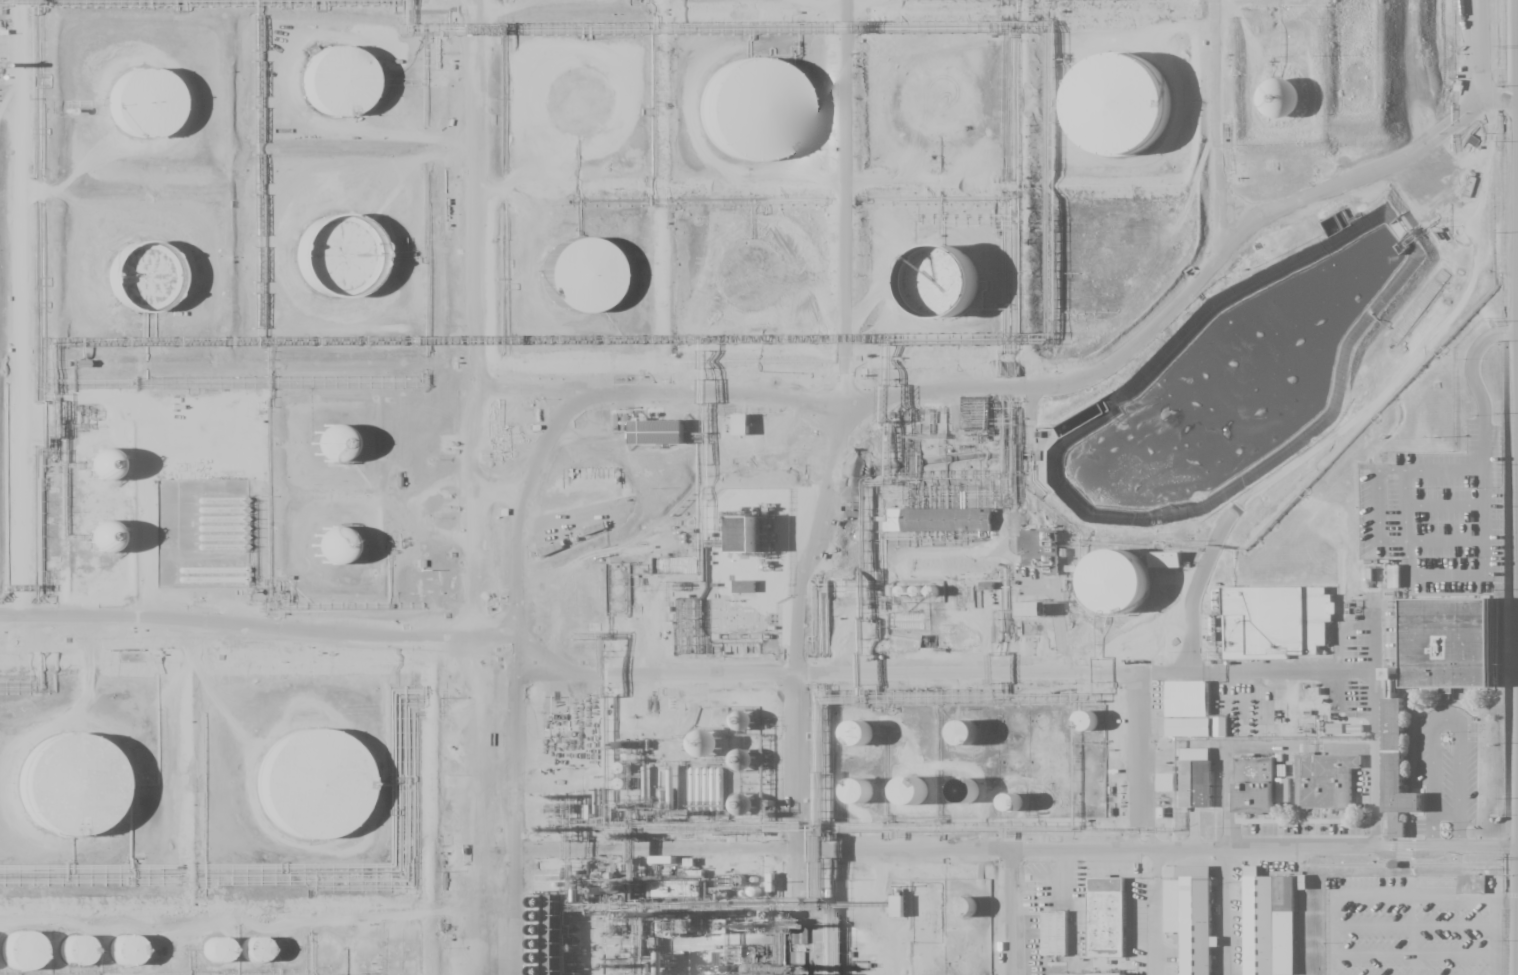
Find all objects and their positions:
road: (1479, 51)
building: (350, 89)
storage tank: (350, 89)
building: (1280, 98)
building: (584, 102)
storage tank: (584, 102)
building: (154, 111)
storage tank: (154, 111)
building: (1129, 112)
storage tank: (1129, 112)
building: (762, 122)
storage tank: (762, 122)
road: (1216, 127)
road: (847, 204)
building: (348, 262)
storage tank: (348, 262)
building: (591, 284)
storage tank: (591, 284)
road: (1191, 284)
building: (153, 285)
storage tank: (153, 285)
building: (765, 285)
storage tank: (765, 285)
building: (957, 294)
storage tank: (957, 294)
building: (742, 424)
building: (753, 430)
building: (671, 441)
building: (329, 443)
building: (99, 464)
building: (951, 520)
building: (748, 534)
building: (100, 536)
road: (518, 543)
building: (330, 545)
building: (1039, 549)
building: (1166, 559)
building: (1394, 576)
power substation: (735, 577)
building: (745, 586)
building: (1130, 591)
storage tank: (1130, 591)
building: (1032, 608)
building: (1276, 620)
road: (257, 622)
road: (797, 638)
building: (1456, 648)
road: (907, 672)
building: (1391, 683)
building: (1186, 698)
building: (1250, 719)
building: (1086, 720)
building: (1097, 727)
storage tank: (1097, 727)
building: (1220, 727)
building: (1194, 730)
building: (858, 732)
building: (965, 732)
building: (871, 741)
storage tank: (871, 741)
building: (704, 742)
building: (978, 742)
storage tank: (978, 742)
building: (743, 760)
building: (1396, 769)
building: (1324, 781)
building: (1166, 782)
building: (1200, 786)
building: (912, 790)
building: (1262, 790)
building: (859, 791)
building: (324, 792)
storage tank: (324, 792)
building: (82, 795)
storage tank: (82, 795)
building: (871, 800)
storage tank: (871, 800)
building: (977, 800)
storage tank: (977, 800)
building: (927, 801)
storage tank: (927, 801)
building: (1013, 801)
building: (742, 804)
road: (1156, 849)
building: (1471, 884)
road: (1370, 894)
road: (1505, 897)
building: (898, 906)
building: (905, 911)
road: (1155, 912)
building: (976, 914)
storage tank: (976, 914)
building: (1190, 915)
building: (1112, 921)
building: (1269, 924)
road: (1411, 926)
building: (1059, 935)
road: (1493, 936)
building: (74, 950)
building: (124, 950)
building: (215, 950)
building: (253, 950)
road: (1411, 952)
building: (264, 957)
storage tank: (264, 957)
building: (31, 958)
storage tank: (31, 958)
building: (227, 958)
storage tank: (227, 958)
building: (87, 959)
storage tank: (87, 959)
building: (136, 959)
storage tank: (136, 959)
building: (1092, 974)

